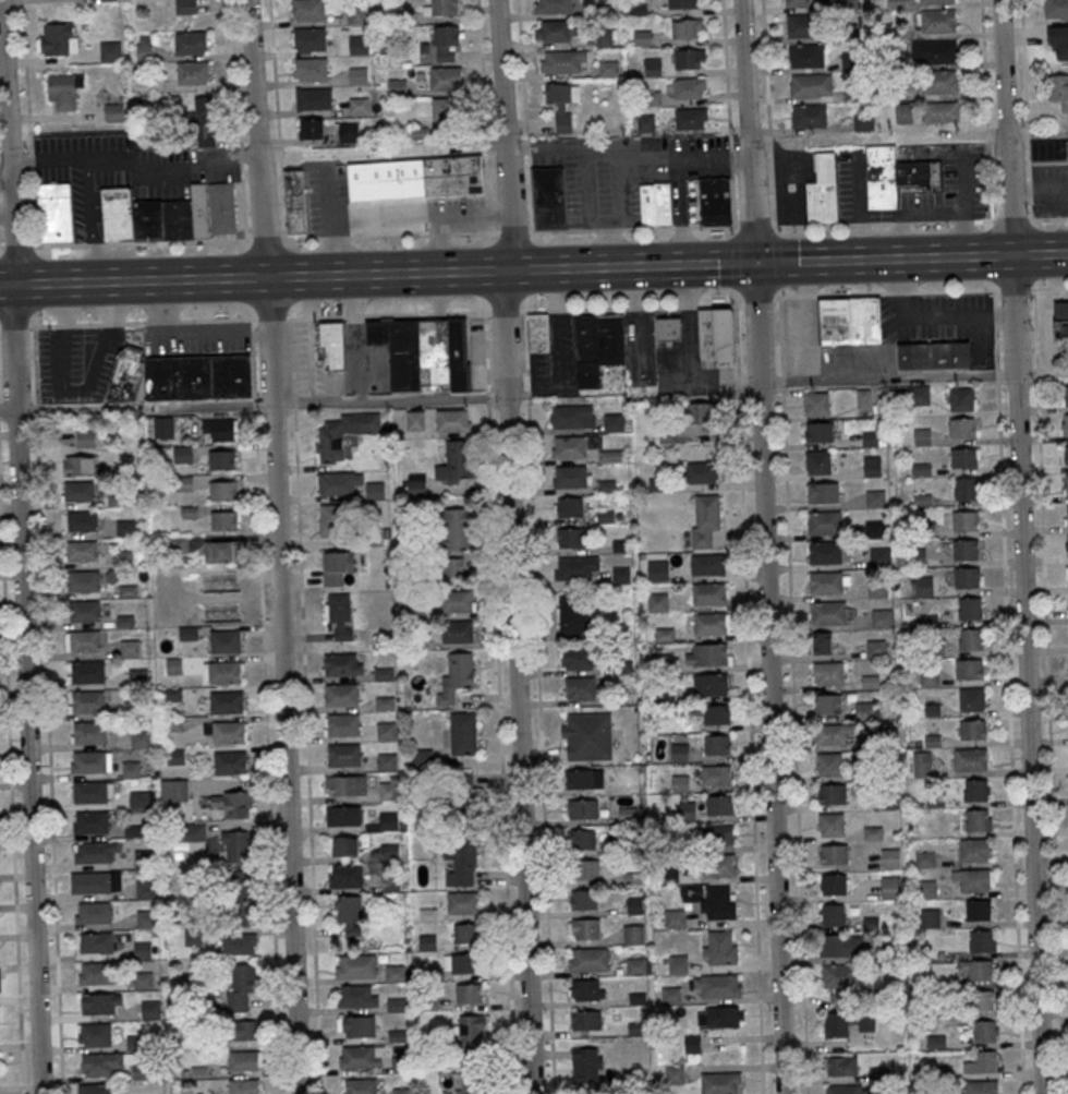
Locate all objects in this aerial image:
building: (935, 1)
building: (683, 3)
building: (802, 3)
building: (897, 3)
building: (186, 7)
building: (553, 7)
building: (441, 8)
building: (1055, 9)
building: (307, 10)
building: (356, 14)
building: (937, 21)
building: (803, 25)
building: (688, 28)
building: (553, 31)
road: (480, 36)
building: (58, 38)
building: (308, 39)
building: (192, 43)
building: (445, 43)
building: (359, 45)
building: (145, 47)
building: (110, 51)
building: (939, 51)
building: (805, 55)
building: (690, 58)
building: (563, 61)
building: (652, 67)
building: (608, 69)
building: (310, 70)
building: (193, 73)
building: (357, 75)
building: (446, 77)
building: (939, 82)
building: (810, 85)
building: (397, 86)
building: (689, 87)
building: (1058, 89)
building: (64, 92)
building: (313, 98)
building: (561, 105)
building: (359, 106)
building: (446, 109)
road: (1025, 109)
building: (942, 110)
road: (986, 110)
building: (114, 112)
road: (728, 112)
road: (768, 113)
building: (903, 113)
road: (525, 116)
building: (812, 116)
building: (691, 118)
road: (236, 119)
road: (277, 119)
building: (205, 121)
building: (863, 121)
road: (31, 122)
building: (645, 122)
building: (311, 129)
building: (351, 132)
road: (1036, 132)
road: (429, 148)
building: (1048, 149)
road: (134, 168)
parking lot: (124, 171)
parking lot: (628, 172)
building: (895, 175)
building: (453, 176)
road: (5, 177)
building: (823, 190)
parking lot: (1049, 190)
building: (549, 197)
building: (399, 200)
building: (295, 201)
building: (708, 201)
building: (646, 203)
building: (662, 203)
building: (54, 213)
building: (170, 214)
road: (447, 218)
road: (385, 221)
road: (921, 221)
road: (330, 224)
road: (387, 235)
road: (1040, 254)
road: (961, 256)
road: (833, 261)
traffic signals: (754, 263)
road: (690, 265)
road: (313, 276)
road: (534, 310)
building: (1060, 318)
building: (850, 320)
building: (668, 329)
building: (538, 333)
building: (716, 334)
parking lot: (196, 337)
building: (332, 345)
building: (597, 348)
building: (424, 351)
building: (933, 354)
parking lot: (76, 362)
building: (179, 375)
road: (913, 378)
building: (918, 395)
building: (1066, 395)
building: (961, 399)
road: (390, 400)
building: (815, 404)
road: (8, 409)
building: (702, 412)
building: (572, 417)
building: (415, 420)
building: (452, 420)
building: (612, 423)
building: (1066, 424)
building: (163, 426)
building: (962, 428)
building: (220, 429)
building: (818, 432)
building: (86, 438)
building: (870, 438)
building: (327, 443)
building: (573, 446)
building: (183, 454)
building: (1067, 454)
building: (612, 456)
building: (964, 457)
building: (219, 459)
building: (817, 461)
building: (453, 464)
building: (80, 466)
building: (872, 466)
building: (701, 472)
building: (570, 477)
building: (336, 483)
building: (416, 485)
building: (1067, 485)
building: (964, 489)
building: (375, 490)
building: (80, 491)
building: (222, 491)
building: (823, 492)
building: (875, 498)
building: (569, 507)
building: (1067, 514)
building: (226, 520)
building: (329, 520)
building: (964, 520)
building: (82, 521)
building: (705, 521)
building: (824, 522)
building: (125, 527)
building: (457, 528)
building: (874, 528)
building: (570, 538)
building: (181, 544)
building: (1067, 545)
road: (277, 546)
road: (513, 546)
road: (764, 546)
road: (1021, 546)
building: (964, 549)
building: (82, 550)
road: (20, 551)
building: (221, 551)
building: (825, 553)
building: (122, 558)
building: (707, 565)
building: (337, 566)
building: (453, 566)
building: (577, 567)
building: (657, 570)
building: (620, 575)
building: (1066, 575)
building: (967, 577)
building: (84, 580)
building: (828, 582)
building: (924, 586)
building: (708, 594)
building: (215, 597)
building: (458, 601)
building: (657, 602)
building: (969, 609)
building: (85, 610)
building: (828, 613)
building: (340, 615)
building: (570, 615)
building: (709, 625)
building: (458, 632)
building: (970, 639)
building: (85, 640)
building: (226, 642)
building: (822, 644)
building: (131, 647)
building: (875, 647)
building: (707, 656)
building: (577, 660)
building: (342, 664)
building: (969, 669)
building: (87, 671)
building: (224, 672)
building: (829, 674)
building: (137, 676)
building: (457, 676)
building: (929, 678)
building: (709, 685)
building: (580, 688)
road: (1048, 690)
road: (1008, 692)
building: (341, 694)
road: (792, 695)
building: (972, 698)
road: (749, 700)
building: (87, 701)
building: (227, 702)
road: (498, 702)
road: (538, 702)
road: (305, 705)
building: (827, 705)
road: (265, 706)
road: (48, 709)
building: (716, 713)
building: (173, 724)
building: (342, 724)
building: (972, 729)
building: (385, 730)
building: (227, 731)
building: (89, 732)
building: (463, 733)
building: (835, 734)
building: (587, 736)
building: (139, 738)
building: (933, 740)
building: (716, 744)
building: (679, 753)
building: (343, 755)
building: (175, 756)
building: (970, 758)
building: (90, 761)
building: (230, 761)
building: (387, 761)
building: (829, 764)
building: (922, 764)
building: (131, 768)
building: (716, 774)
building: (581, 779)
building: (680, 783)
building: (345, 785)
building: (389, 790)
building: (976, 790)
building: (92, 791)
building: (174, 791)
building: (832, 793)
road: (11, 794)
building: (460, 795)
building: (139, 798)
building: (234, 803)
building: (719, 805)
building: (583, 808)
building: (687, 810)
building: (342, 816)
building: (978, 820)
building: (92, 821)
building: (385, 821)
building: (832, 825)
building: (190, 832)
building: (715, 835)
building: (583, 839)
building: (343, 845)
building: (235, 846)
building: (974, 851)
building: (95, 852)
building: (390, 852)
building: (834, 854)
building: (145, 857)
building: (890, 858)
building: (924, 858)
building: (461, 863)
building: (718, 867)
building: (587, 869)
building: (345, 876)
building: (973, 880)
building: (93, 881)
building: (834, 883)
building: (239, 886)
building: (891, 887)
building: (145, 888)
building: (925, 888)
building: (583, 900)
building: (464, 902)
building: (718, 904)
building: (635, 906)
building: (349, 909)
building: (979, 910)
building: (95, 912)
building: (833, 915)
building: (147, 918)
building: (930, 918)
building: (675, 919)
building: (584, 928)
building: (353, 930)
building: (465, 933)
building: (633, 934)
building: (982, 941)
building: (97, 942)
building: (427, 942)
building: (239, 943)
building: (841, 946)
building: (144, 949)
building: (720, 949)
building: (588, 959)
building: (460, 963)
building: (678, 964)
building: (355, 966)
building: (636, 966)
building: (980, 970)
building: (97, 972)
building: (143, 979)
building: (840, 981)
building: (240, 986)
building: (717, 987)
building: (587, 989)
building: (469, 993)
building: (670, 996)
building: (356, 997)
building: (985, 1000)
building: (99, 1003)
building: (153, 1009)
building: (724, 1017)
building: (586, 1020)
building: (847, 1022)
building: (356, 1026)
building: (244, 1032)
building: (984, 1032)
building: (95, 1034)
building: (472, 1035)
building: (362, 1056)
building: (244, 1059)
building: (982, 1063)
building: (586, 1065)
building: (841, 1066)
building: (142, 1071)
building: (675, 1075)
building: (720, 1083)
building: (473, 1085)
building: (244, 1086)
building: (361, 1086)
building: (981, 1087)
building: (96, 1089)
building: (845, 1090)
building: (401, 1091)

